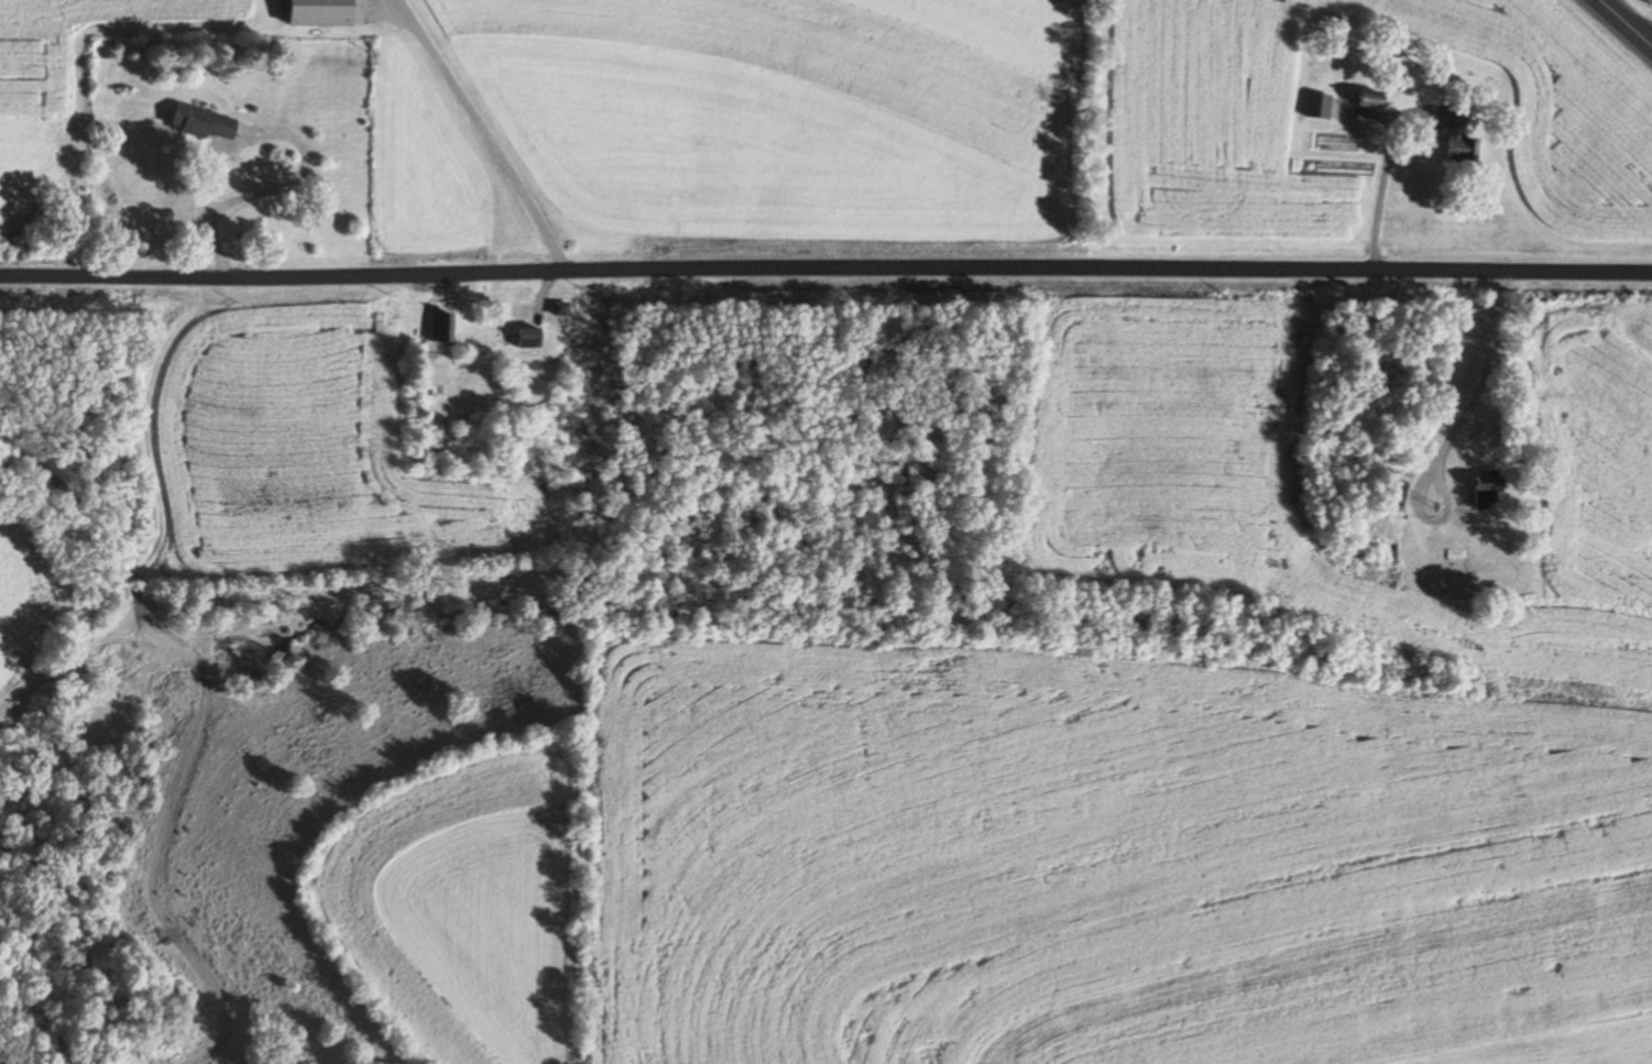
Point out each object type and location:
building: (327, 12)
road: (1626, 22)
building: (207, 121)
road: (482, 134)
building: (1462, 136)
road: (205, 216)
road: (825, 264)
building: (534, 338)
road: (1474, 392)
building: (1491, 492)
building: (1399, 502)

